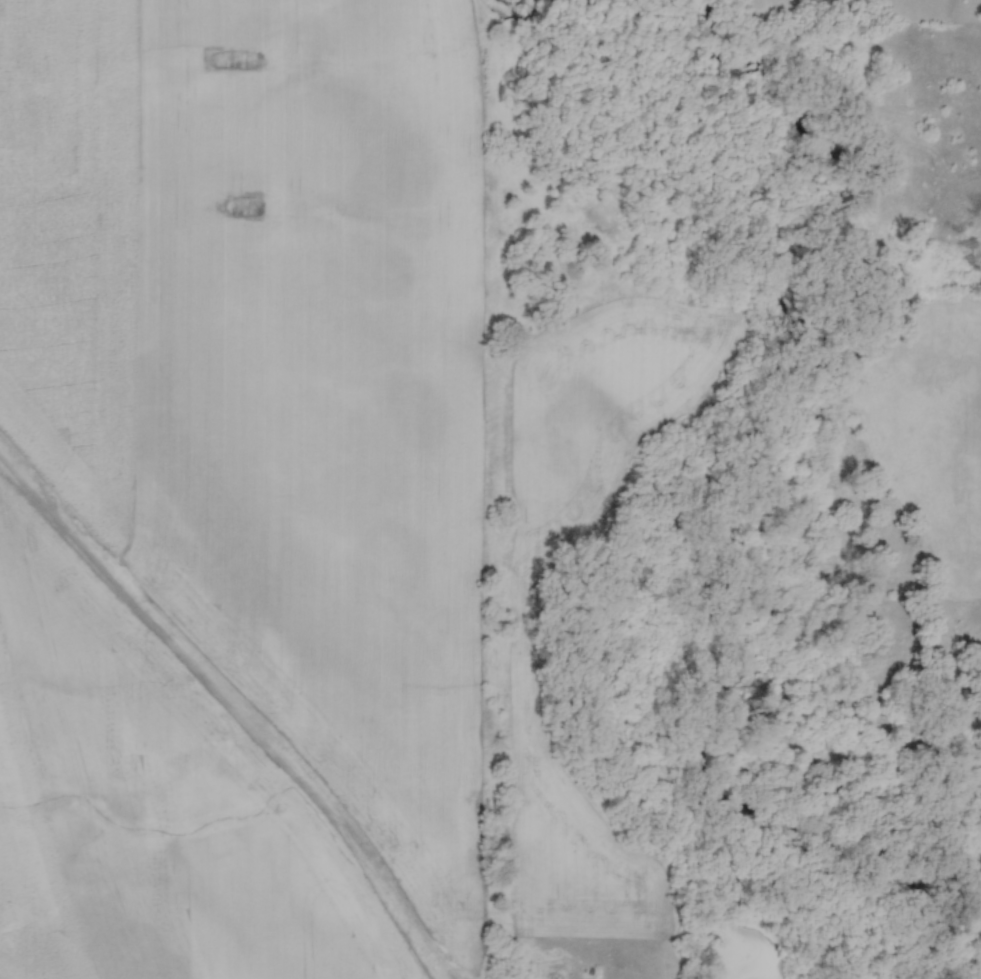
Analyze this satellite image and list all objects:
road: (968, 628)

